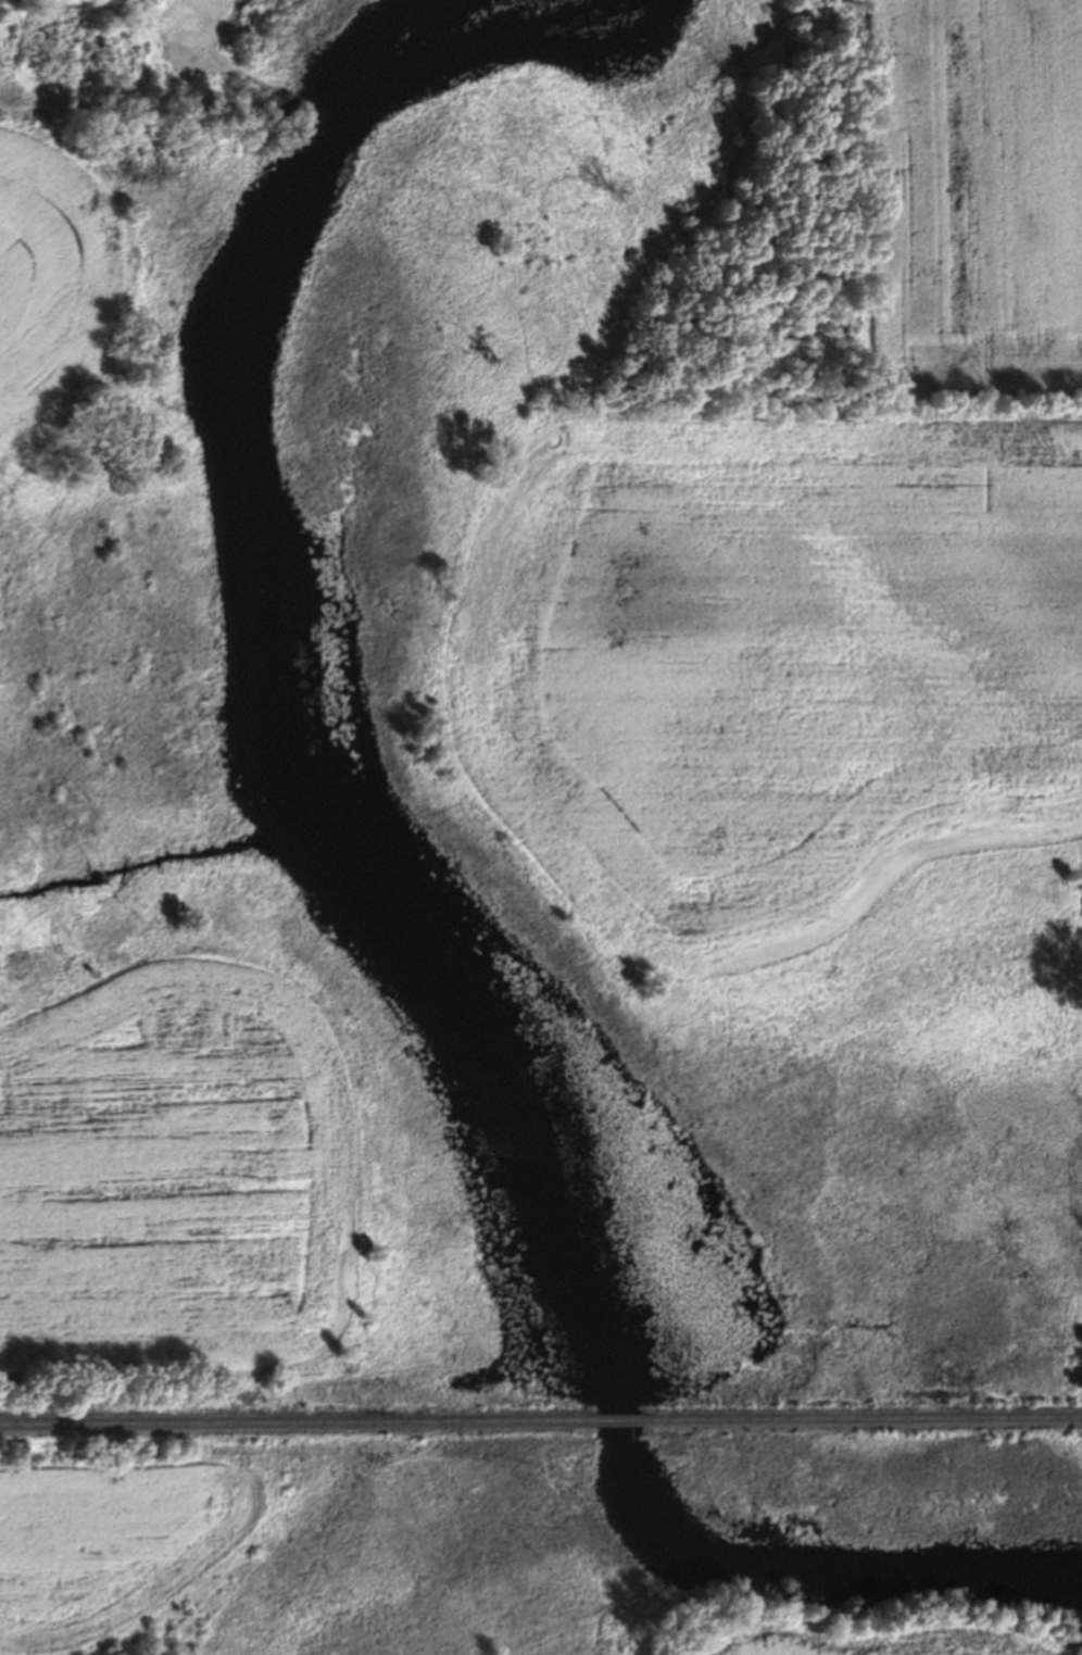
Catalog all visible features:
river: (418, 915)
railway: (864, 1421)
railway: (622, 1424)
railway: (300, 1426)

